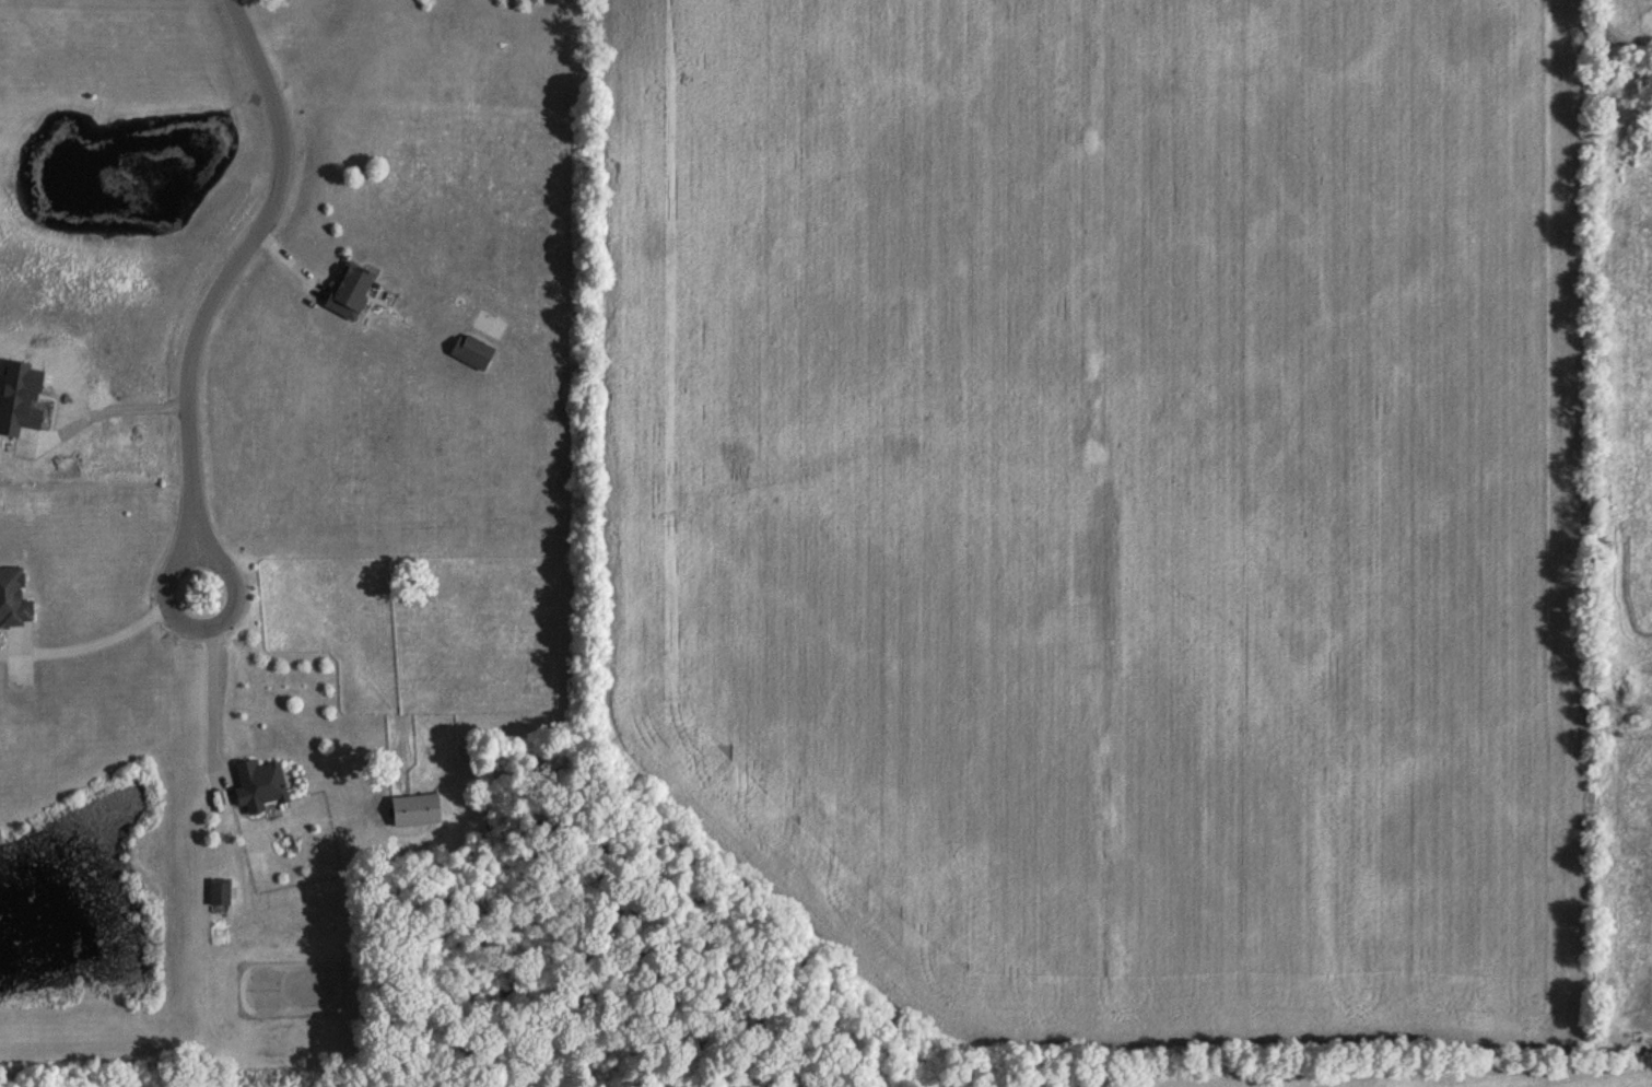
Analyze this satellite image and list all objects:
road: (238, 266)
building: (348, 277)
building: (471, 351)
road: (115, 396)
road: (165, 578)
road: (87, 635)
road: (209, 701)
building: (257, 772)
road: (1616, 816)
building: (218, 879)

